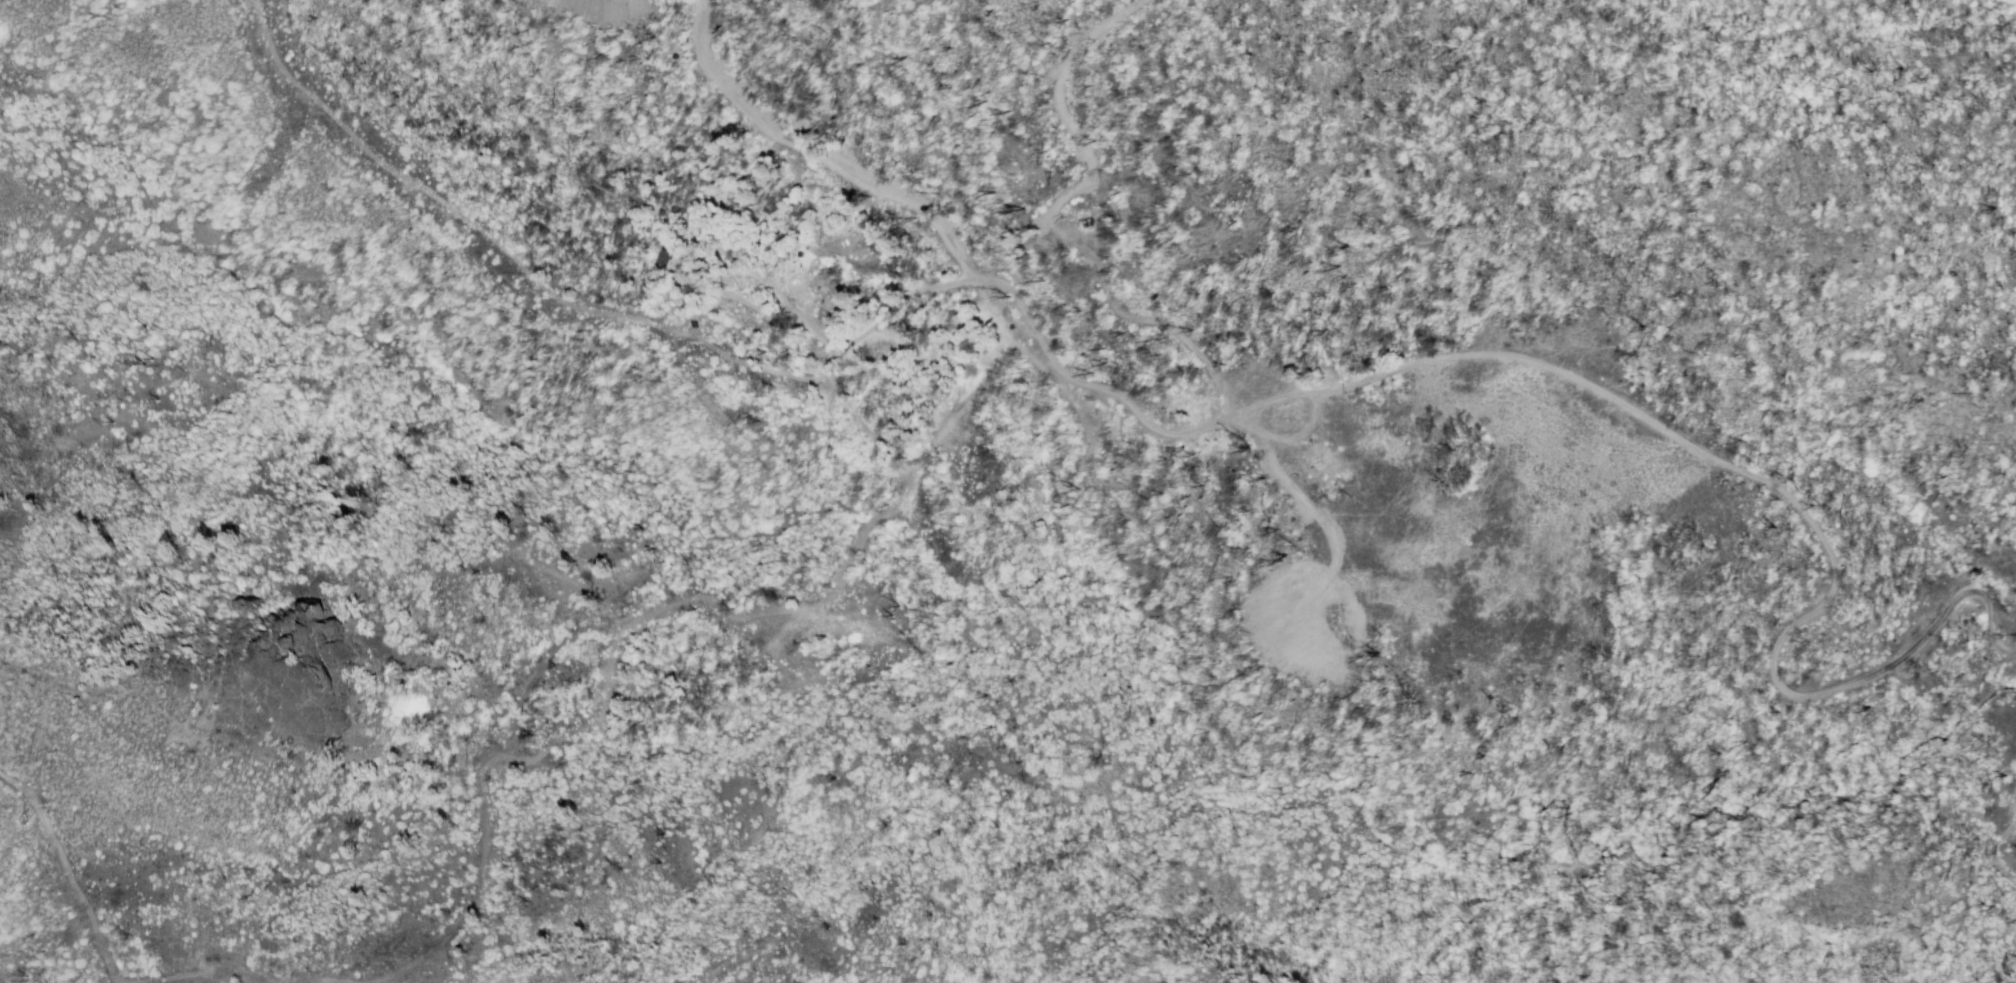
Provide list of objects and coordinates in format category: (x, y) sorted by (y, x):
road: (438, 199)
road: (852, 345)
road: (1418, 360)
road: (92, 691)
road: (69, 867)
road: (7, 974)

